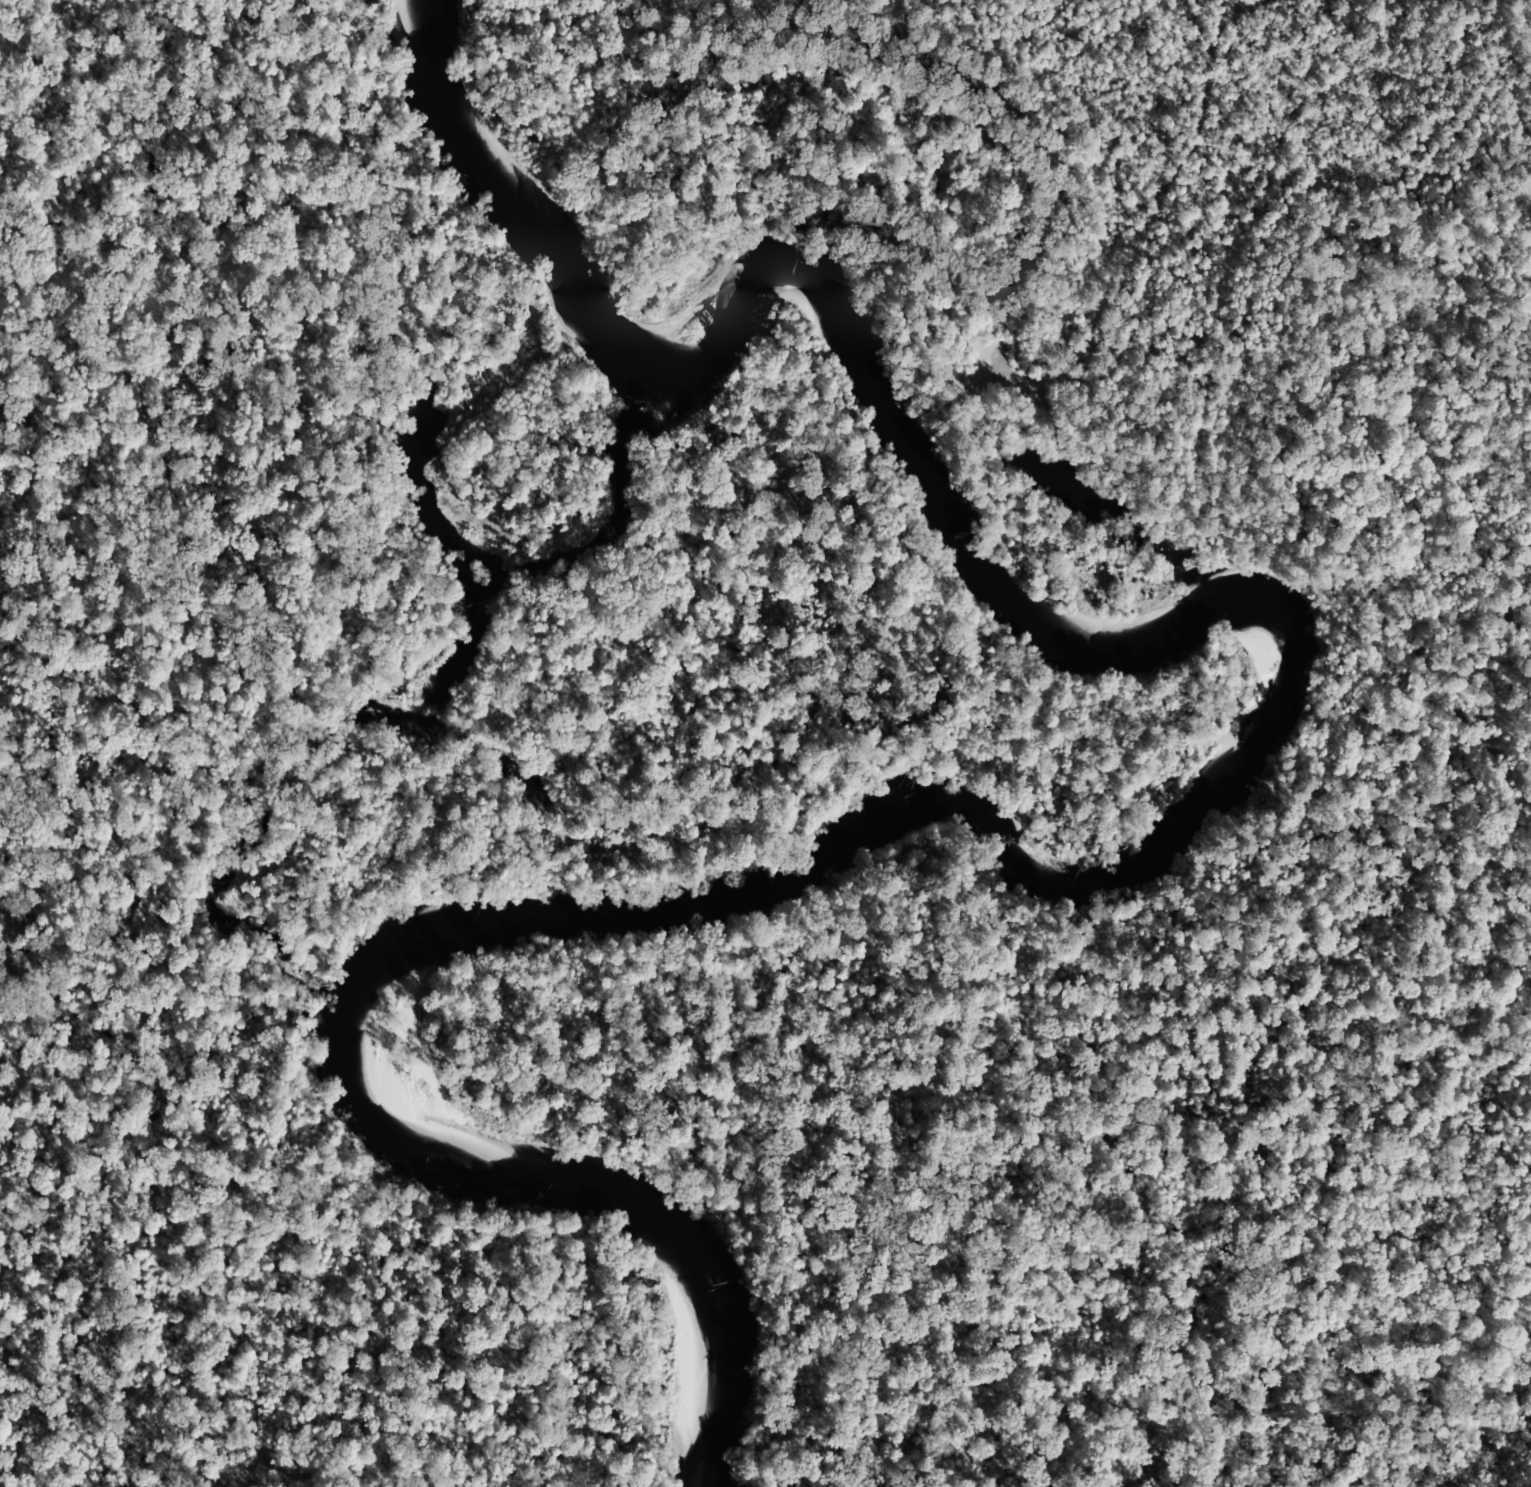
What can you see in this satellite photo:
road: (1179, 162)

